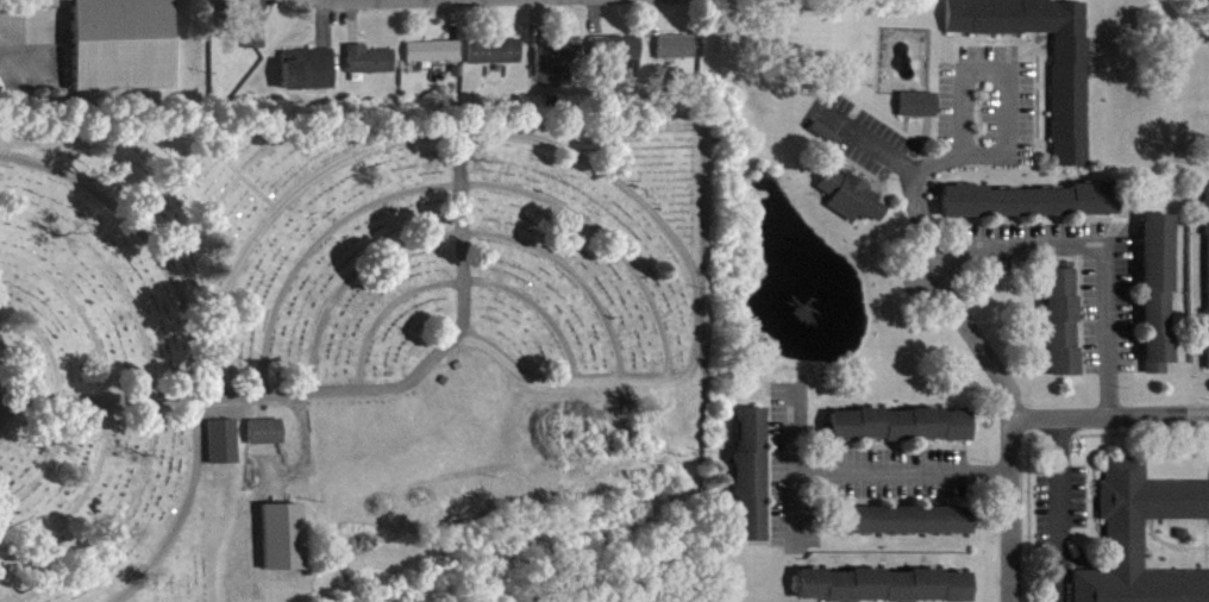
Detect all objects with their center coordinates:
building: (256, 30)
road: (26, 35)
building: (123, 43)
building: (624, 57)
building: (682, 57)
building: (436, 61)
building: (496, 62)
building: (374, 69)
building: (562, 71)
building: (312, 80)
building: (1072, 109)
building: (920, 114)
road: (1011, 139)
road: (879, 157)
building: (853, 207)
building: (1032, 212)
building: (1208, 219)
road: (462, 233)
road: (672, 238)
road: (1102, 247)
building: (1161, 301)
park: (339, 330)
building: (1064, 332)
road: (187, 341)
road: (106, 402)
road: (1113, 415)
road: (1016, 418)
building: (259, 428)
building: (901, 435)
building: (218, 438)
building: (265, 441)
road: (912, 485)
building: (752, 487)
road: (1061, 509)
building: (904, 531)
building: (278, 534)
building: (1142, 539)
building: (884, 591)

